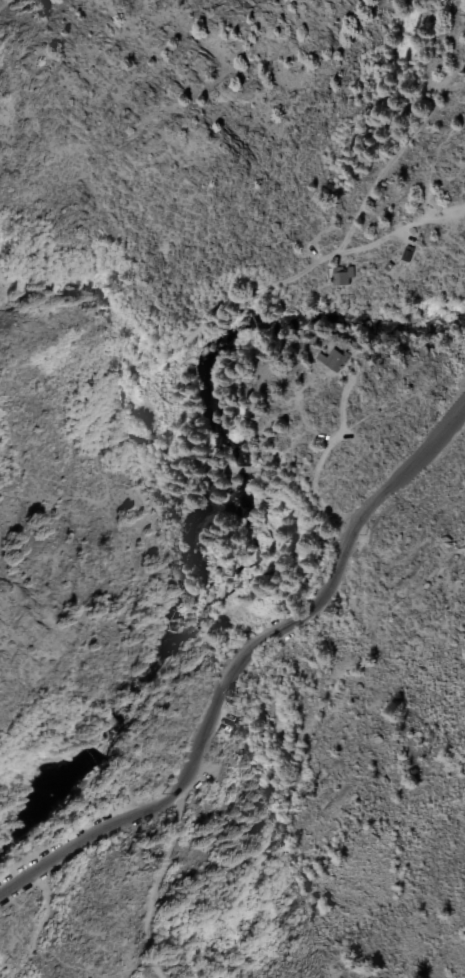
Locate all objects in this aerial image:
road: (6, 5)
road: (393, 152)
road: (399, 227)
building: (406, 251)
building: (344, 279)
road: (180, 345)
building: (330, 362)
road: (326, 441)
road: (230, 470)
road: (69, 493)
road: (304, 496)
road: (241, 664)
parking lot: (218, 745)
parking lot: (80, 829)
parking lot: (59, 868)
road: (155, 882)

